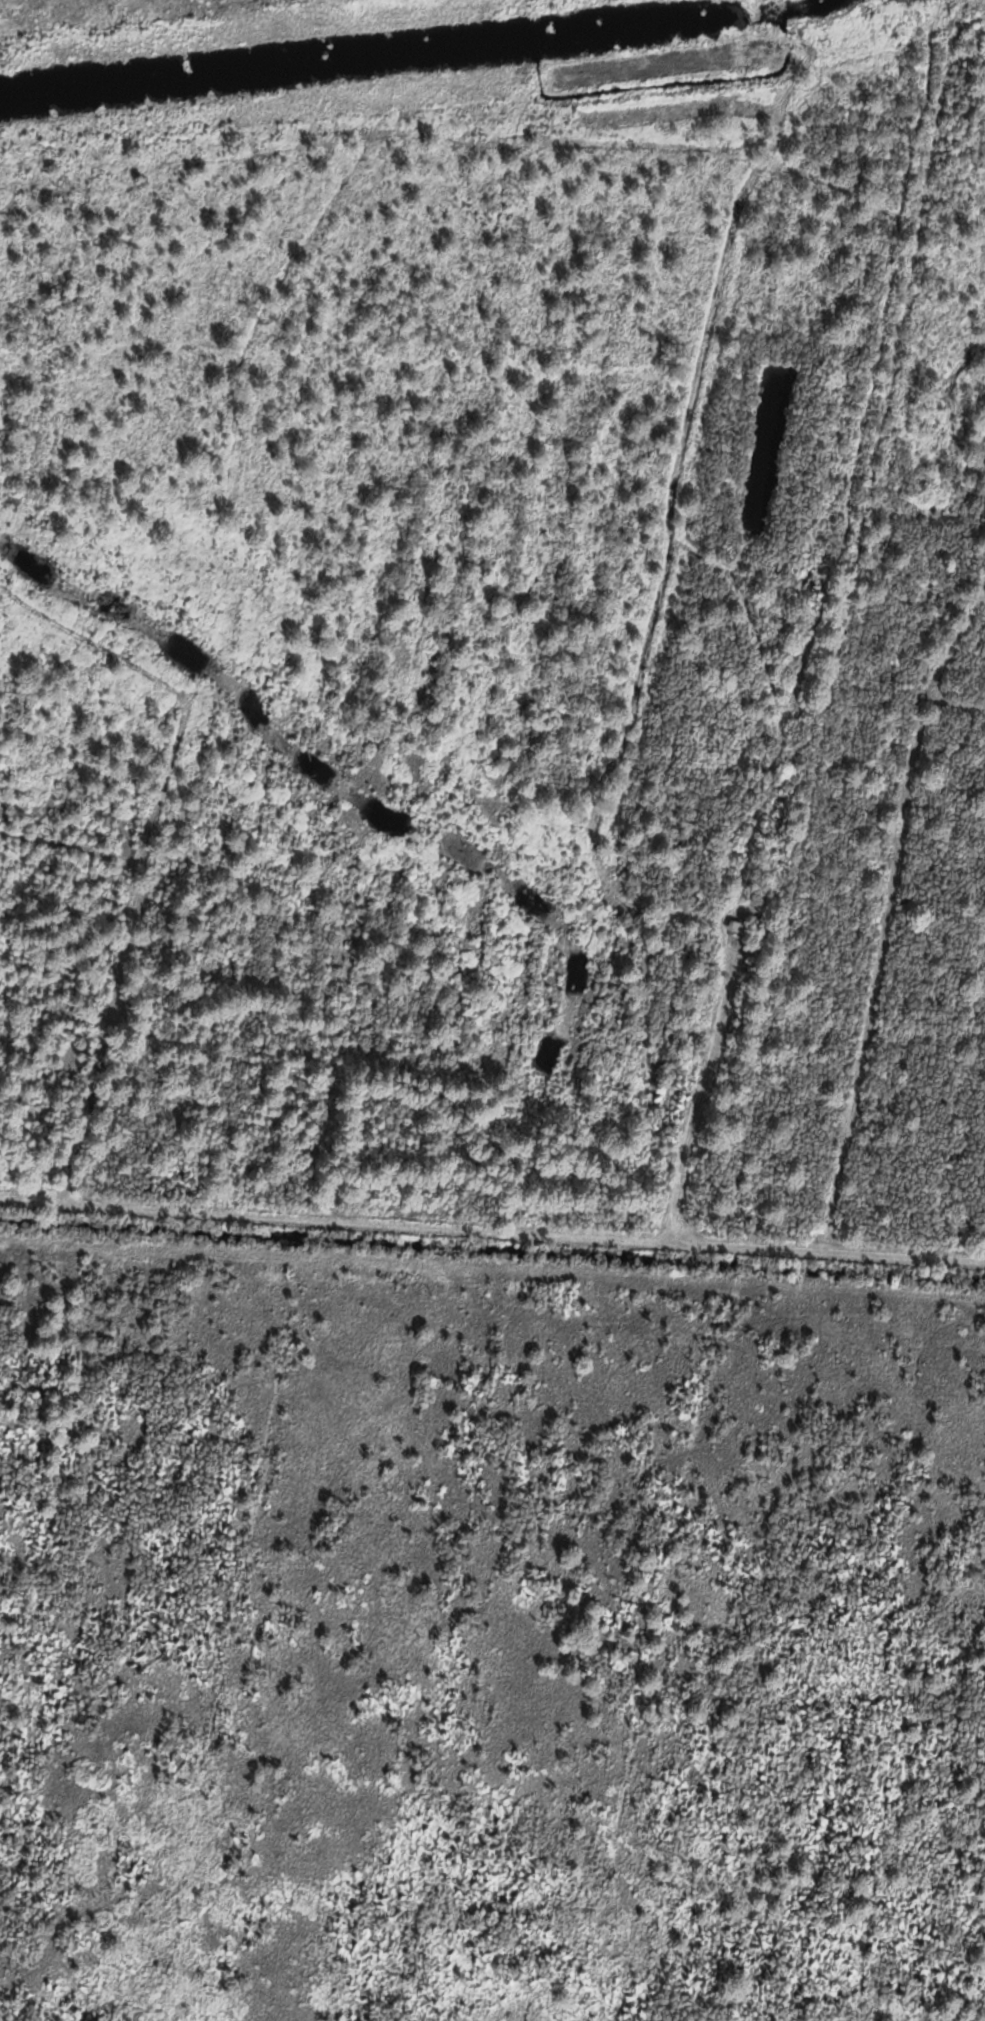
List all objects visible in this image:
road: (492, 1229)
road: (492, 1270)

